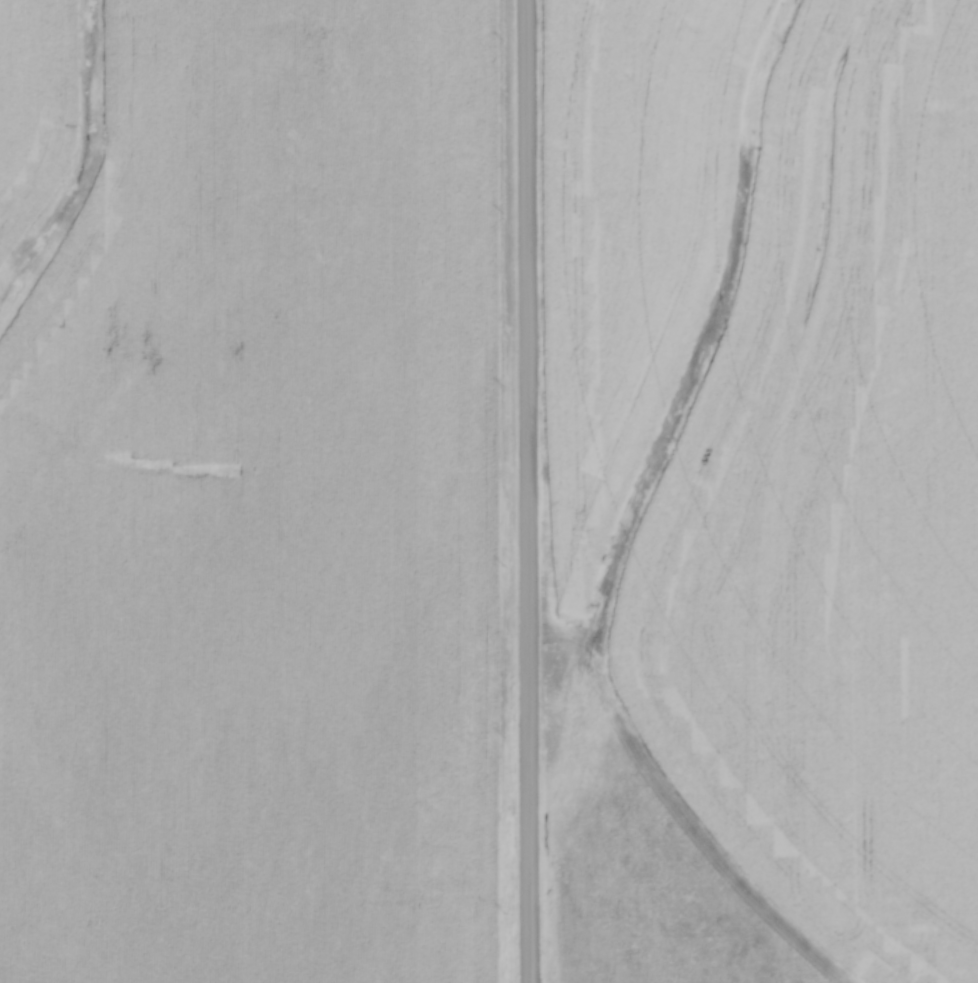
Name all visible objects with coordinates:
road: (524, 491)

